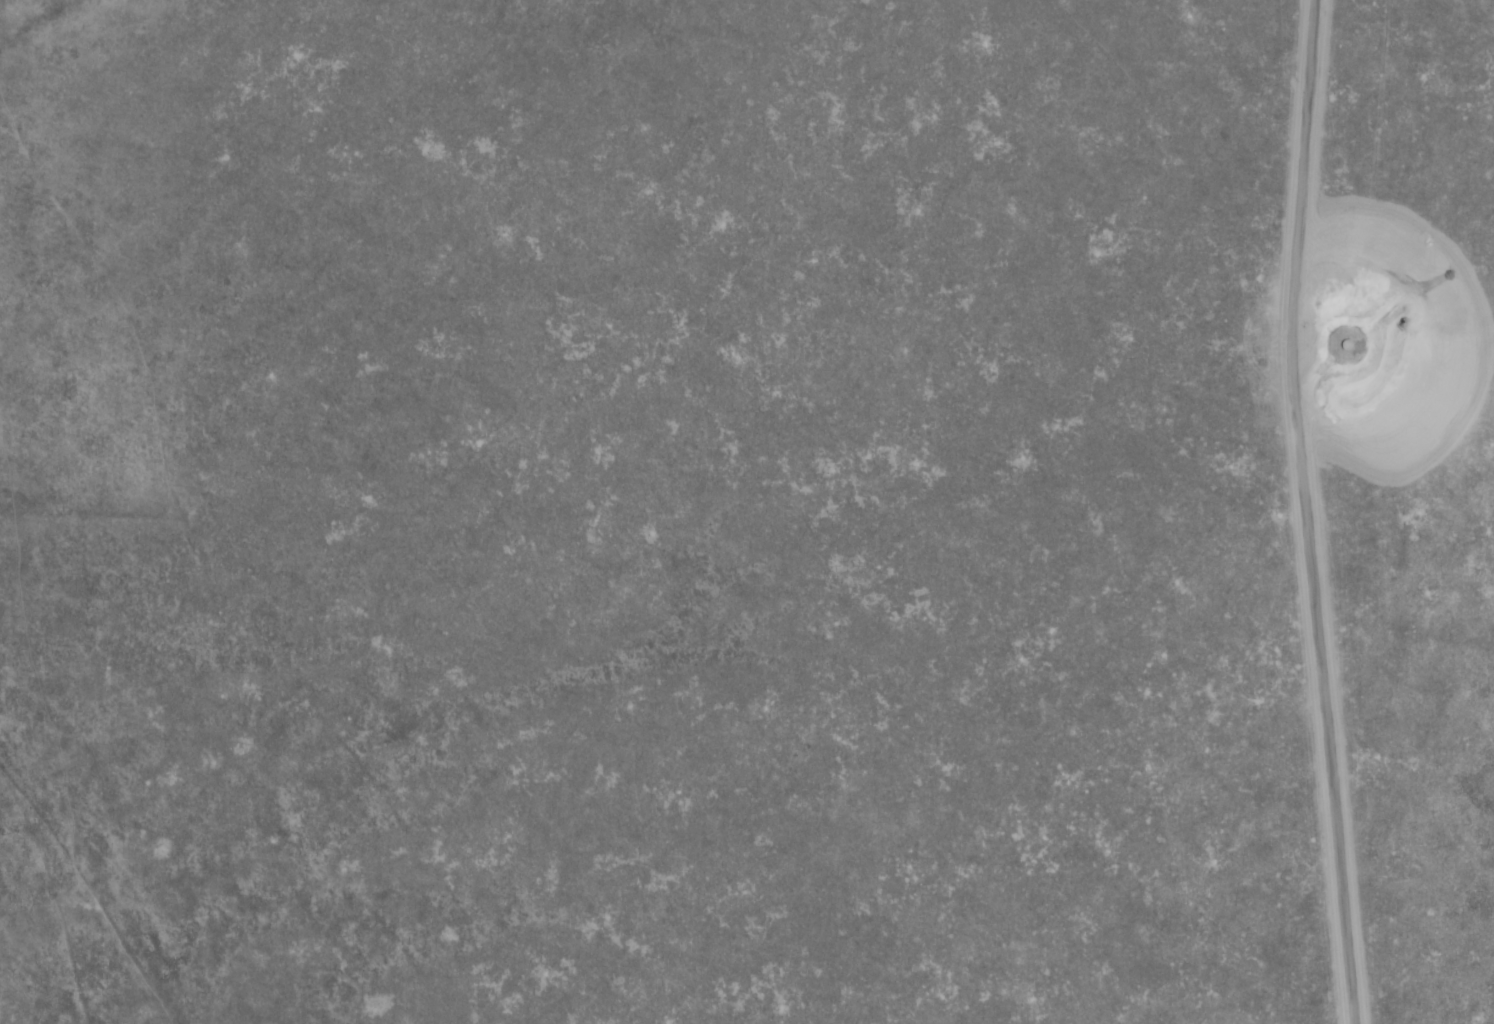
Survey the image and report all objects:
wind turbine: (1367, 343)

